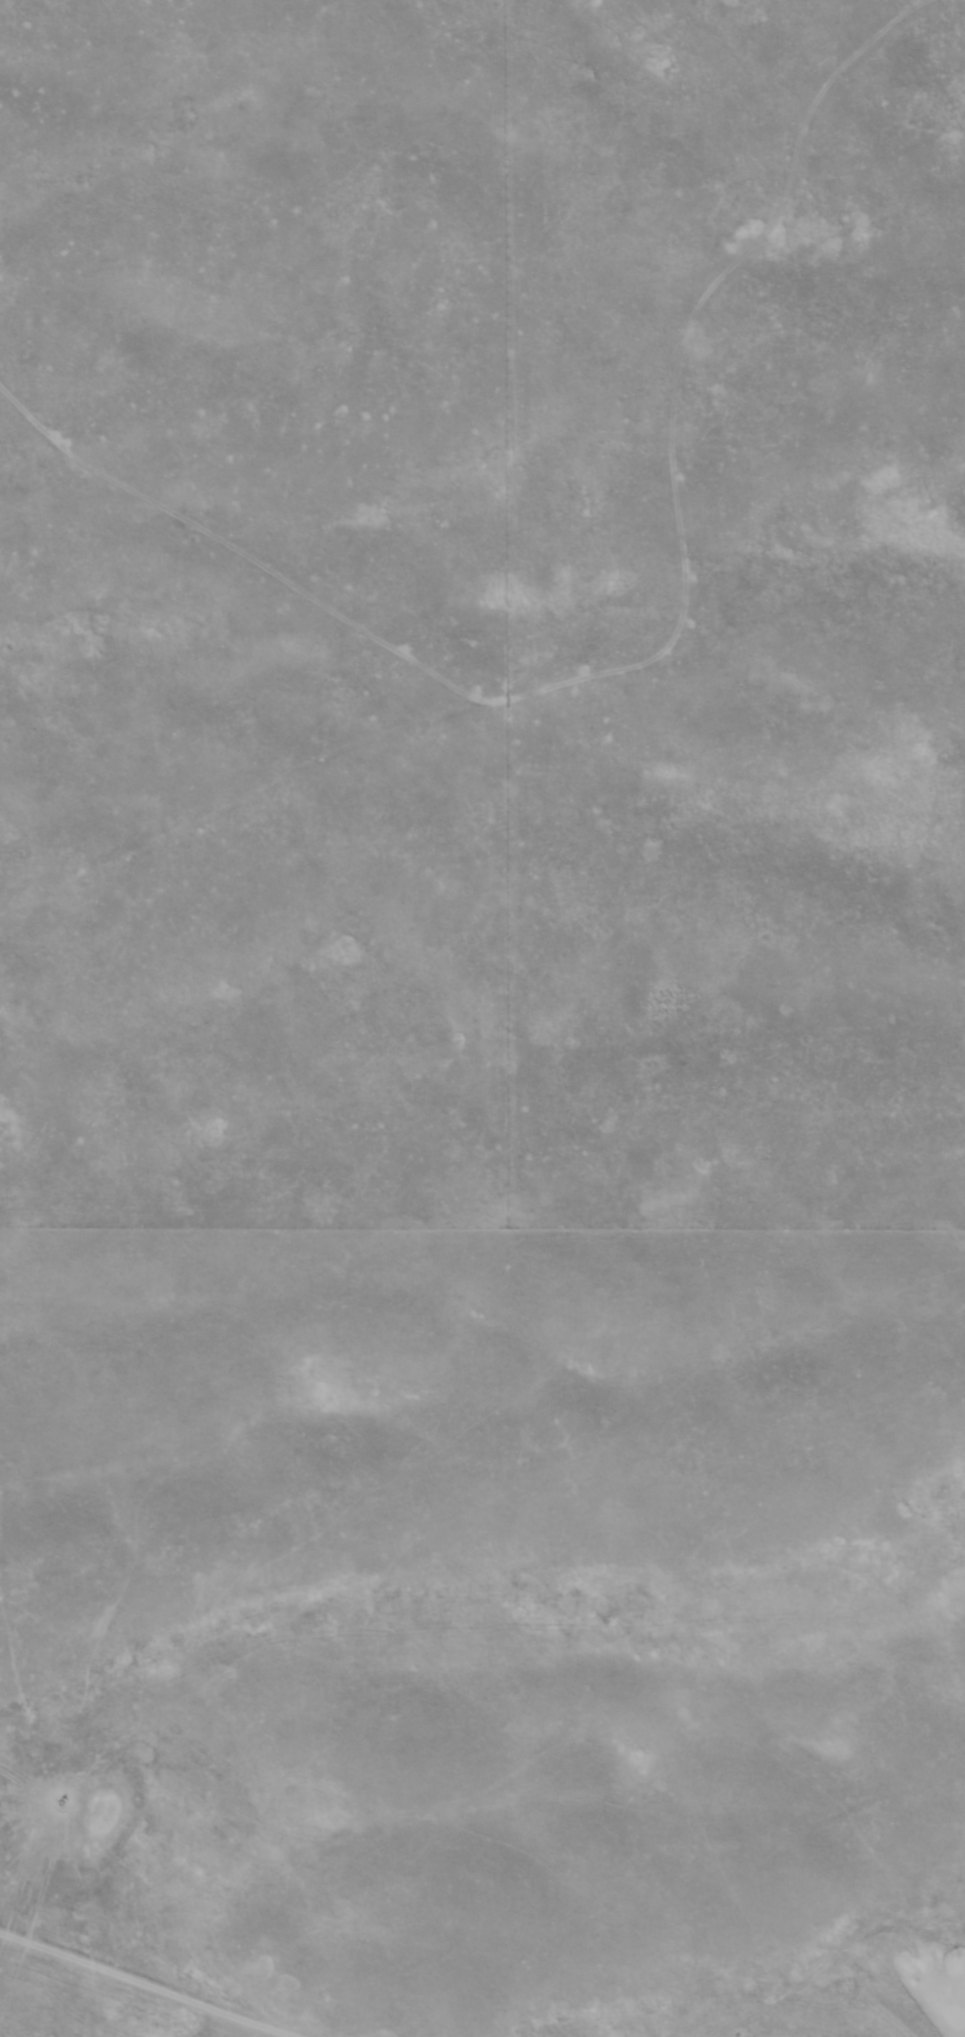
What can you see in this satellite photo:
road: (132, 1991)

